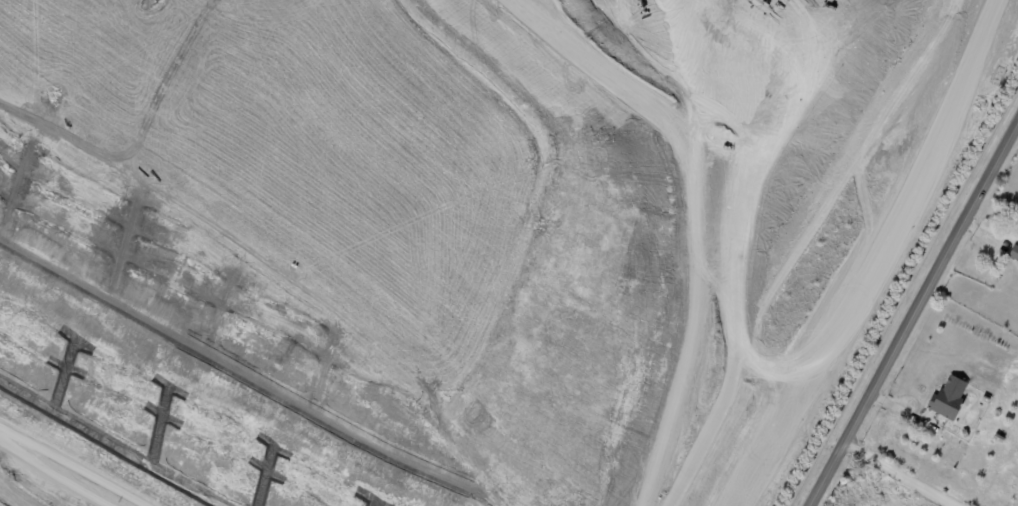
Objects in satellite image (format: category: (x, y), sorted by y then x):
landfill: (418, 241)
building: (1015, 253)
road: (911, 313)
building: (986, 398)
building: (950, 399)
building: (966, 434)
building: (999, 438)
road: (63, 470)
road: (903, 471)

